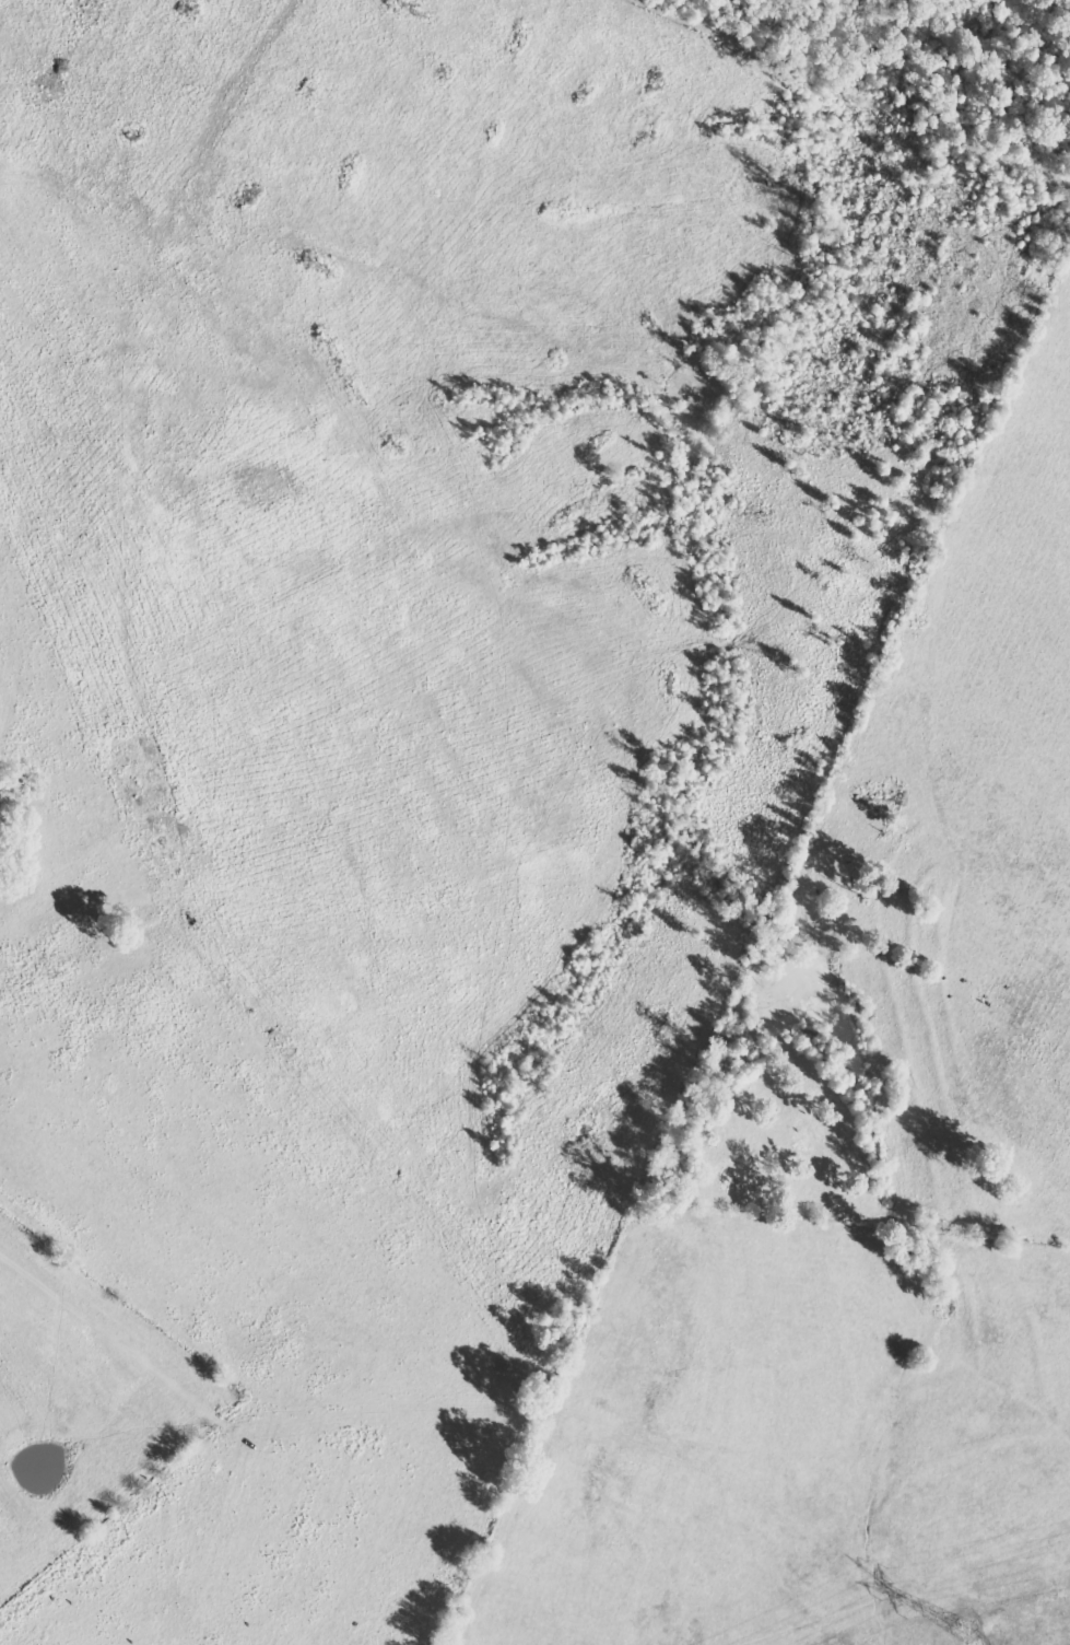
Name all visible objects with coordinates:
power tower: (967, 1633)

